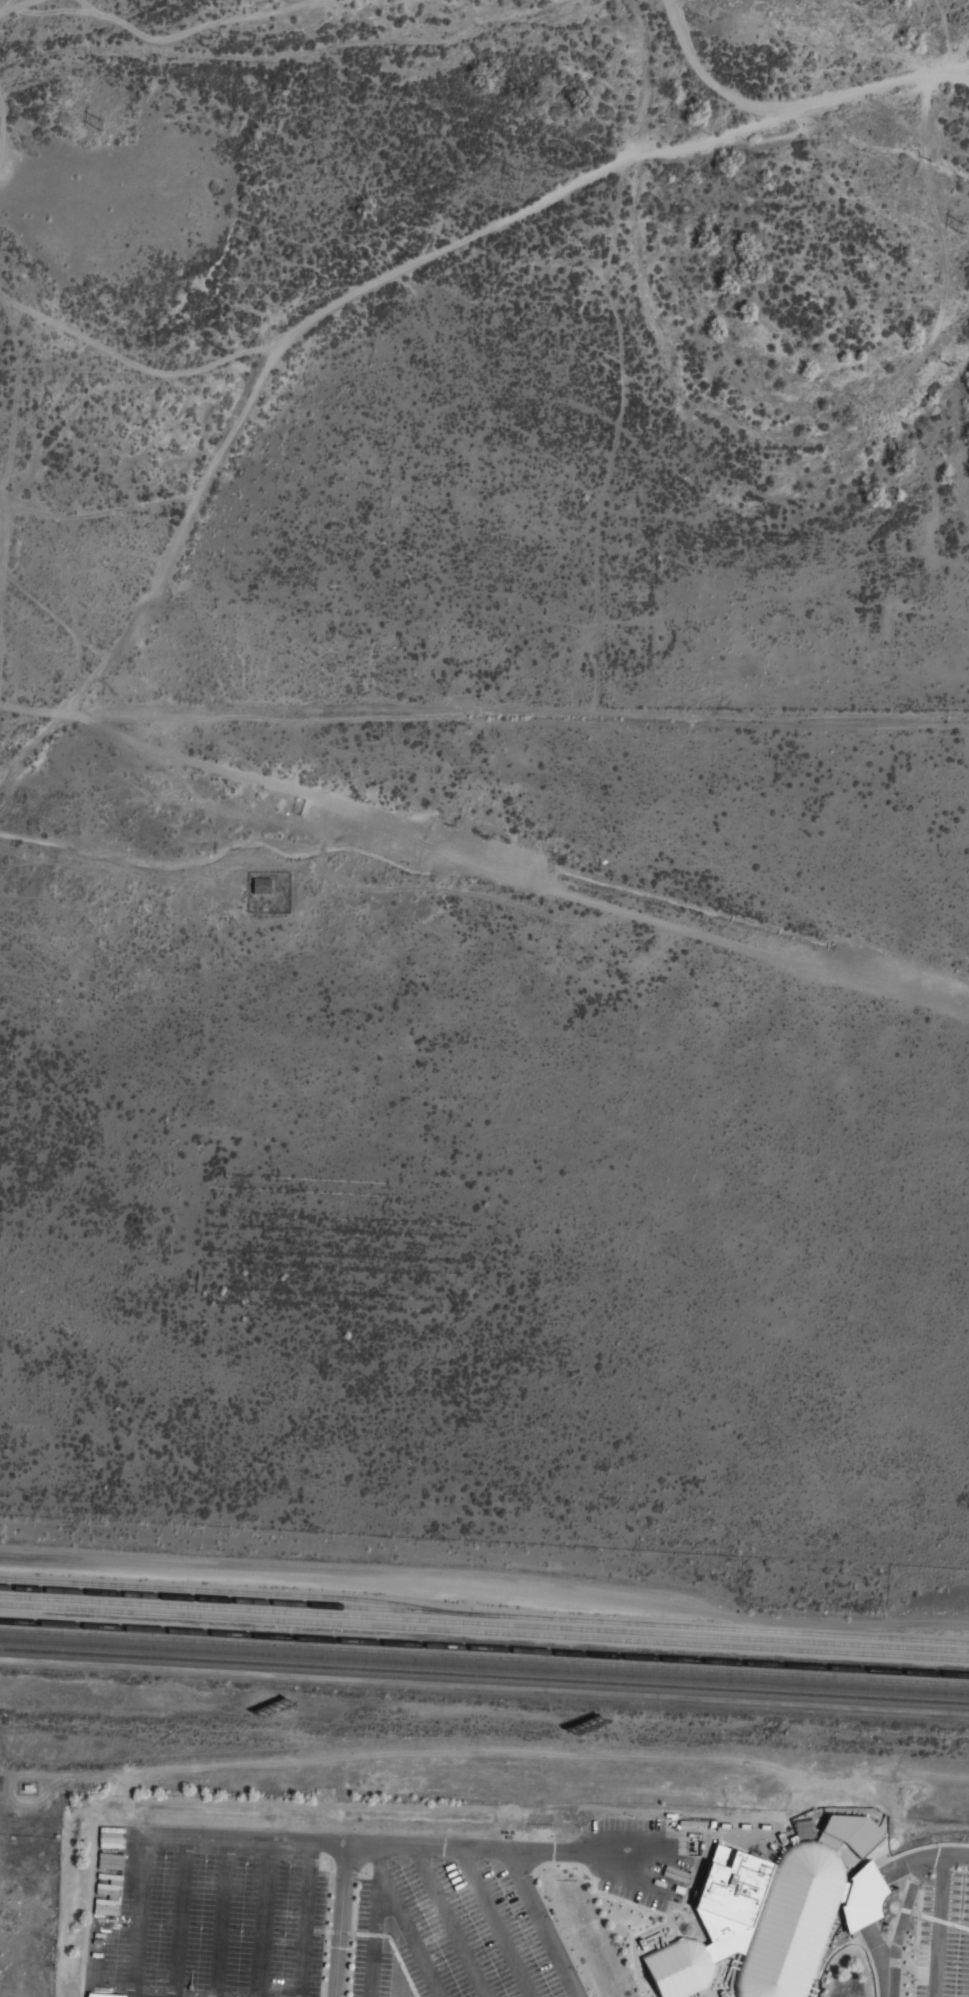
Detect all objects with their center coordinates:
road: (5, 6)
river: (311, 47)
road: (791, 117)
power tower: (94, 126)
power tower: (520, 177)
power tower: (962, 229)
road: (295, 331)
river: (671, 370)
road: (491, 873)
building: (268, 885)
railway: (230, 1590)
railway: (484, 1614)
railway: (484, 1621)
railway: (484, 1632)
railway: (484, 1648)
railway: (484, 1657)
railway: (484, 1666)
railway: (484, 1675)
road: (367, 1845)
road: (867, 1889)
road: (98, 1914)
road: (138, 1915)
road: (179, 1916)
road: (219, 1917)
parking lot: (320, 1917)
road: (262, 1918)
road: (303, 1919)
road: (901, 1919)
road: (339, 1920)
building: (768, 1920)
road: (404, 1922)
road: (451, 1922)
road: (496, 1923)
road: (544, 1924)
road: (938, 1924)
road: (374, 1932)
parking lot: (941, 1933)
road: (96, 1996)

